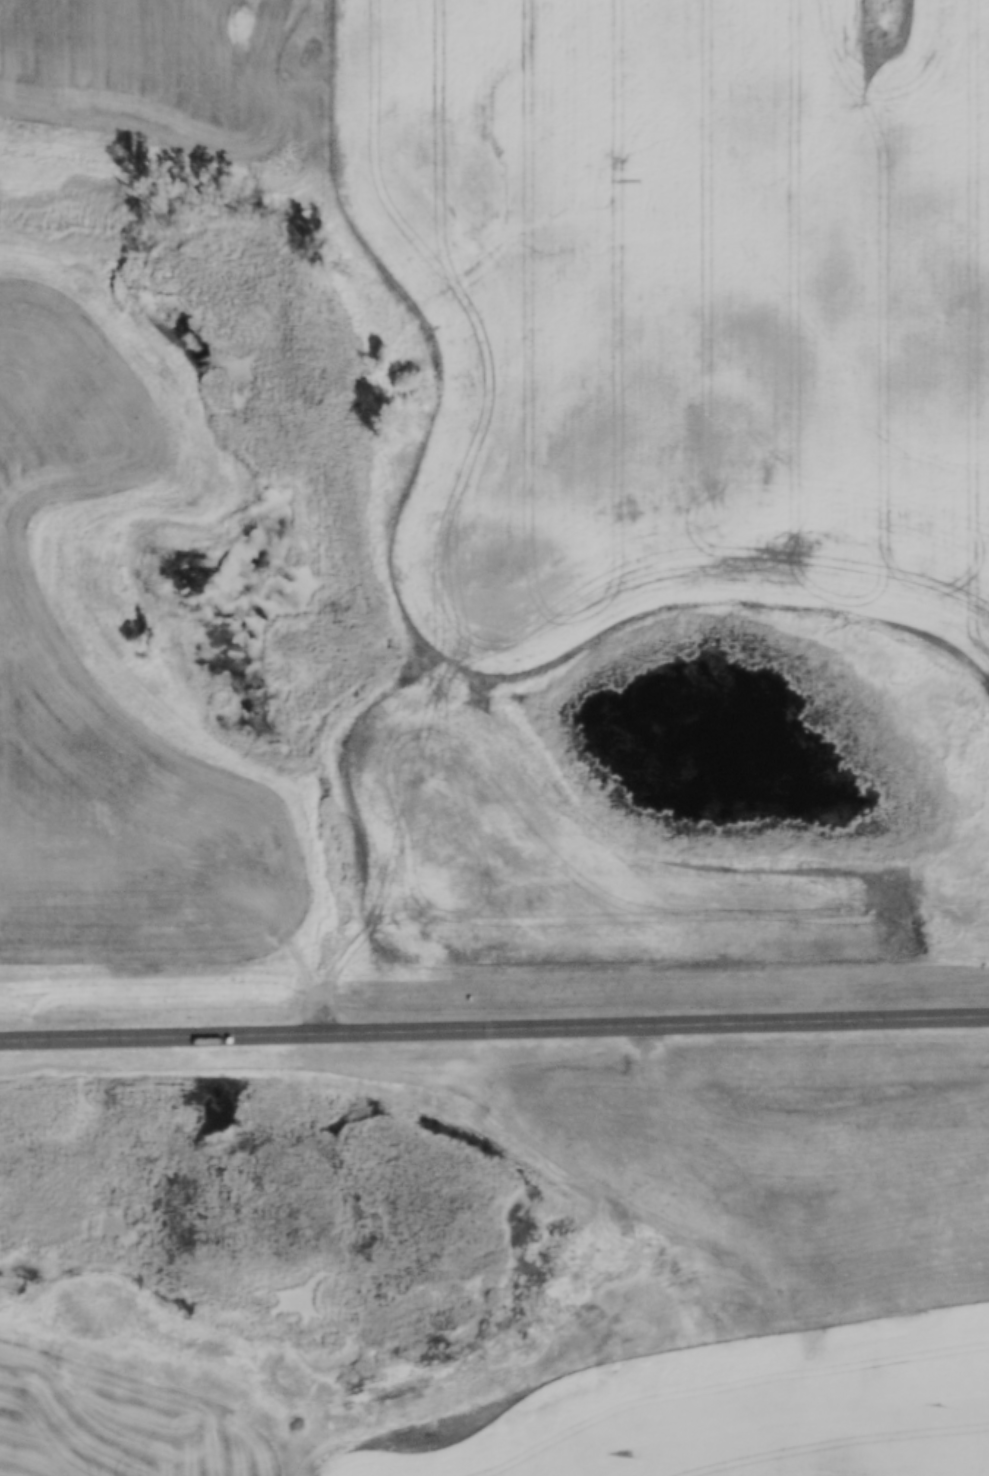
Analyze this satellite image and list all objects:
road: (494, 1030)

